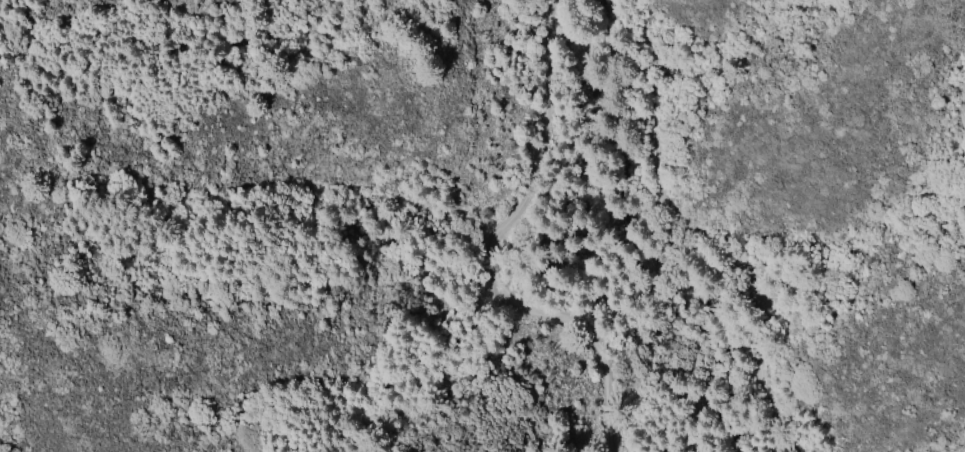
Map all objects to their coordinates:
road: (696, 234)
road: (496, 246)

